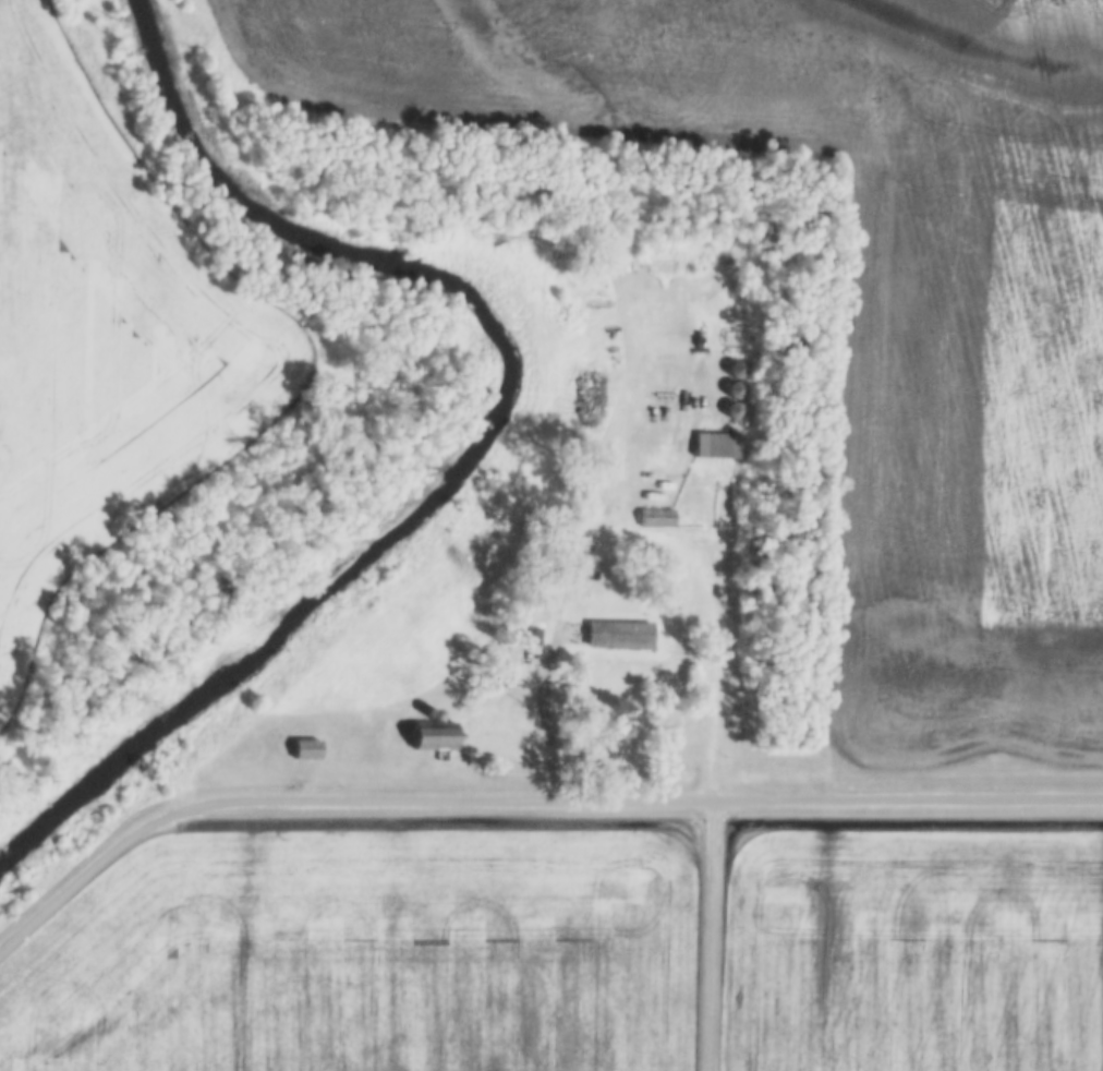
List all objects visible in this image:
crop: (851, 297)
crop: (101, 336)
building: (734, 369)
building: (732, 389)
building: (731, 409)
building: (719, 445)
building: (656, 516)
building: (532, 635)
building: (607, 674)
building: (436, 713)
building: (431, 714)
silo: (431, 714)
building: (437, 735)
building: (305, 748)
road: (905, 797)
road: (329, 801)
crop: (912, 950)
crop: (361, 955)

